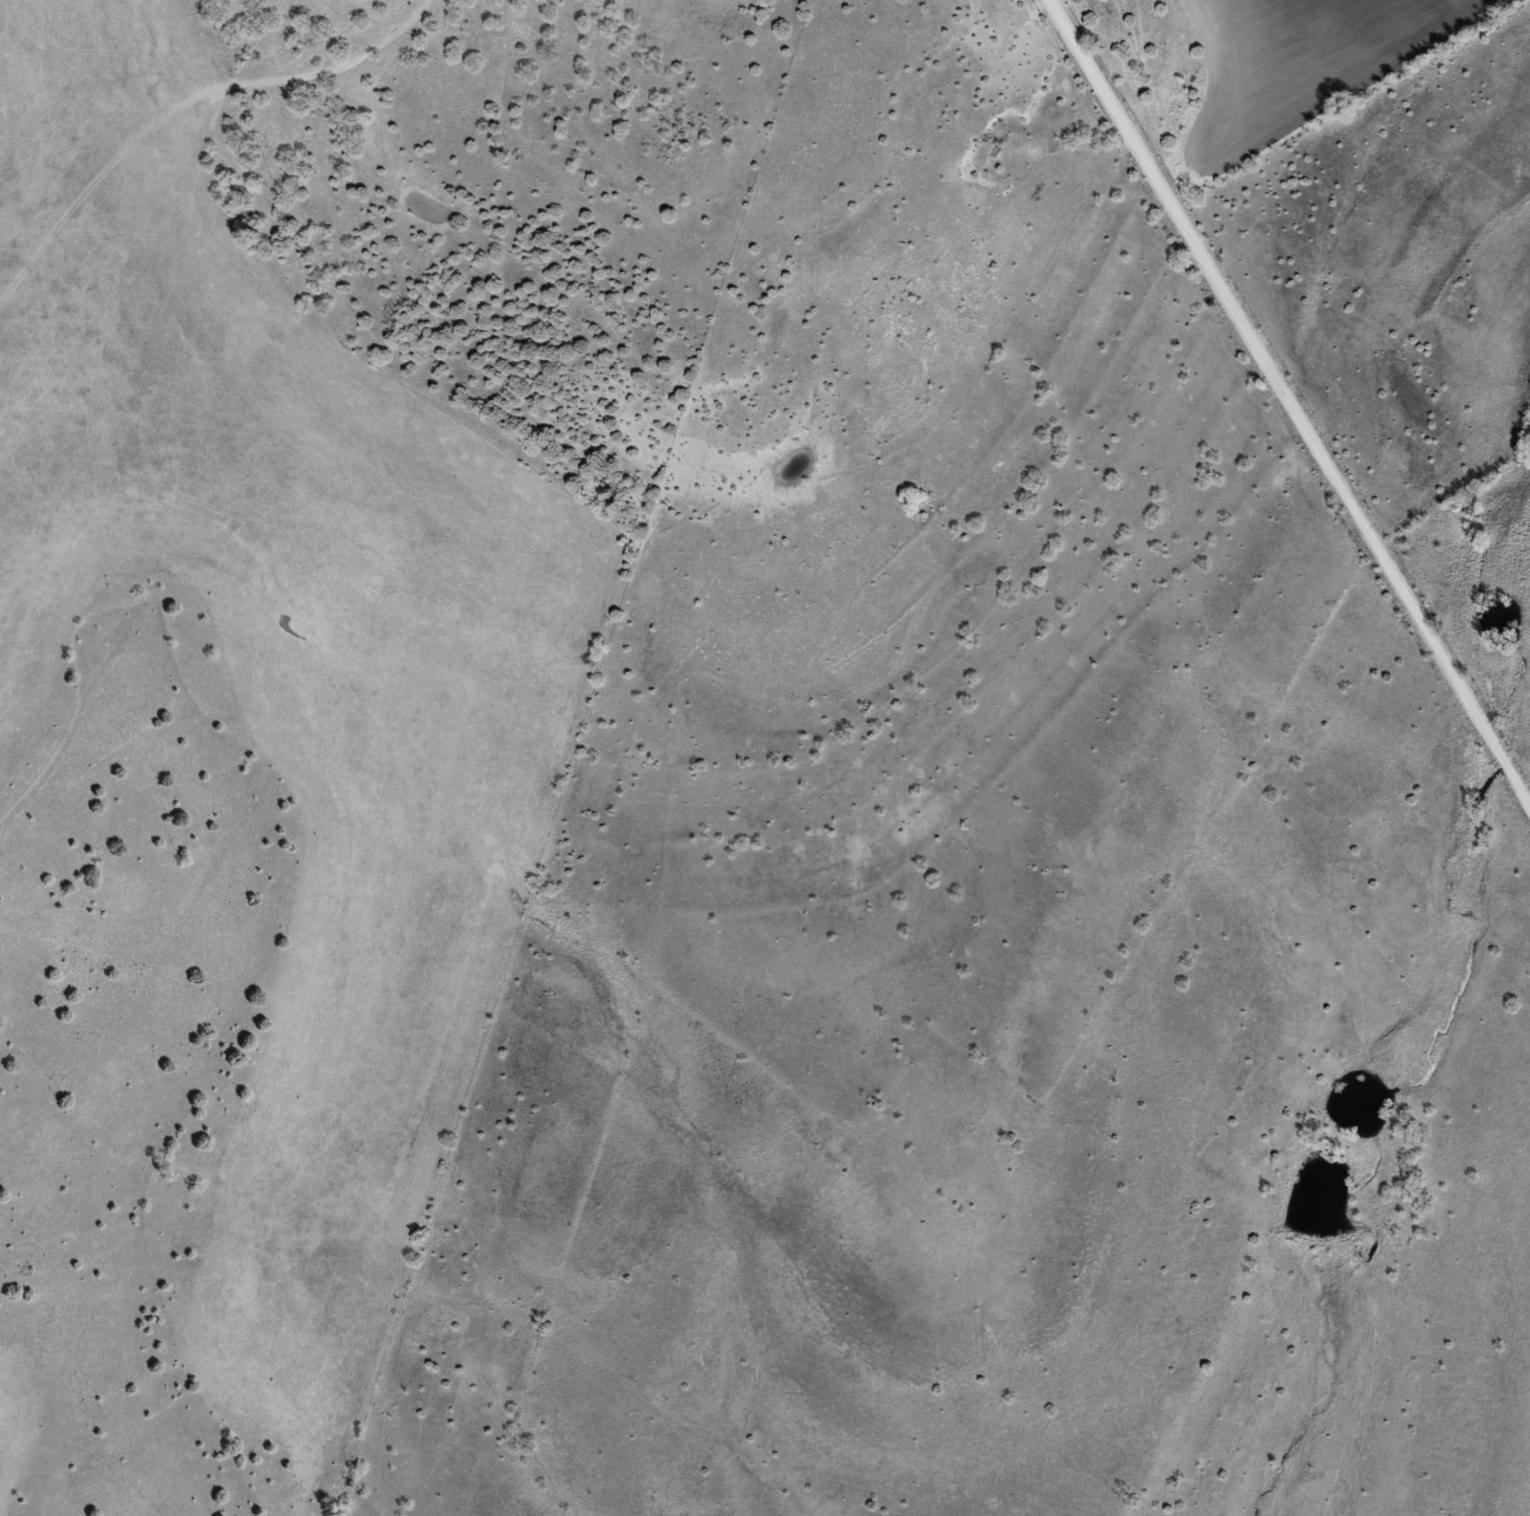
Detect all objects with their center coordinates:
road: (1286, 410)

